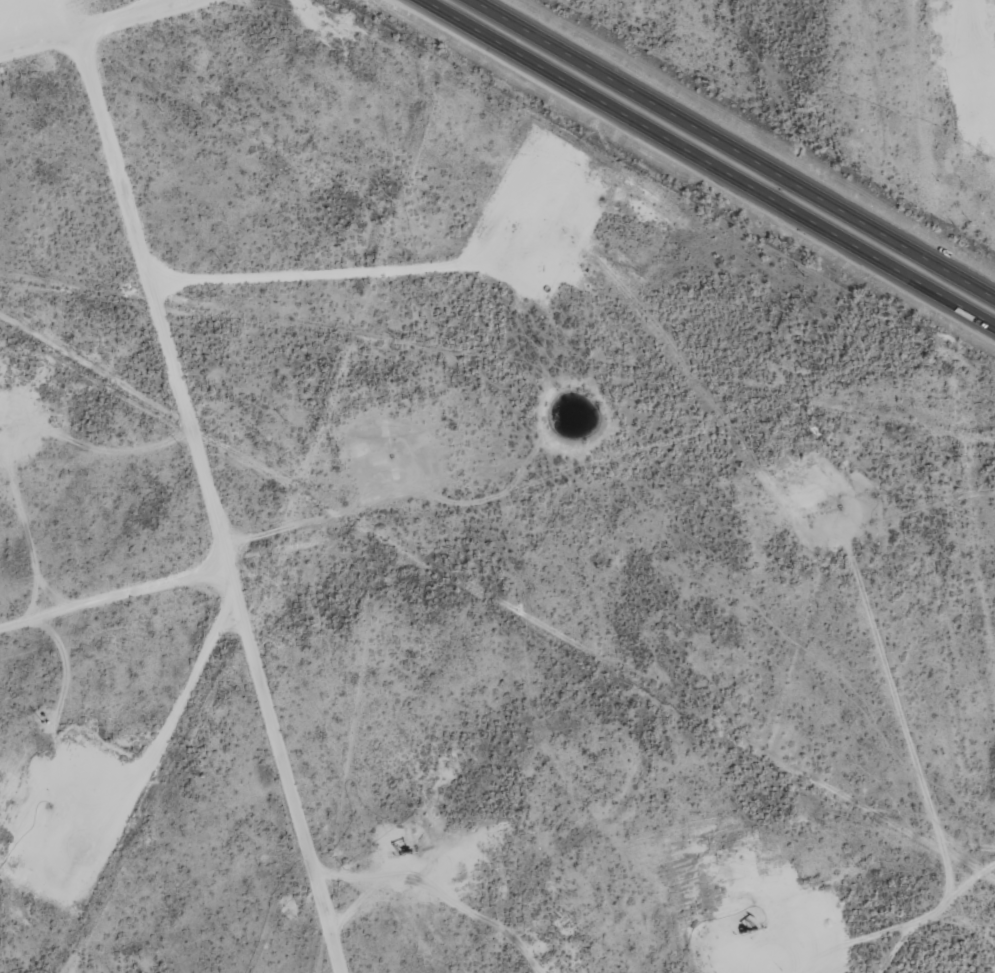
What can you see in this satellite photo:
road: (92, 27)
road: (732, 149)
road: (706, 164)
road: (210, 502)

